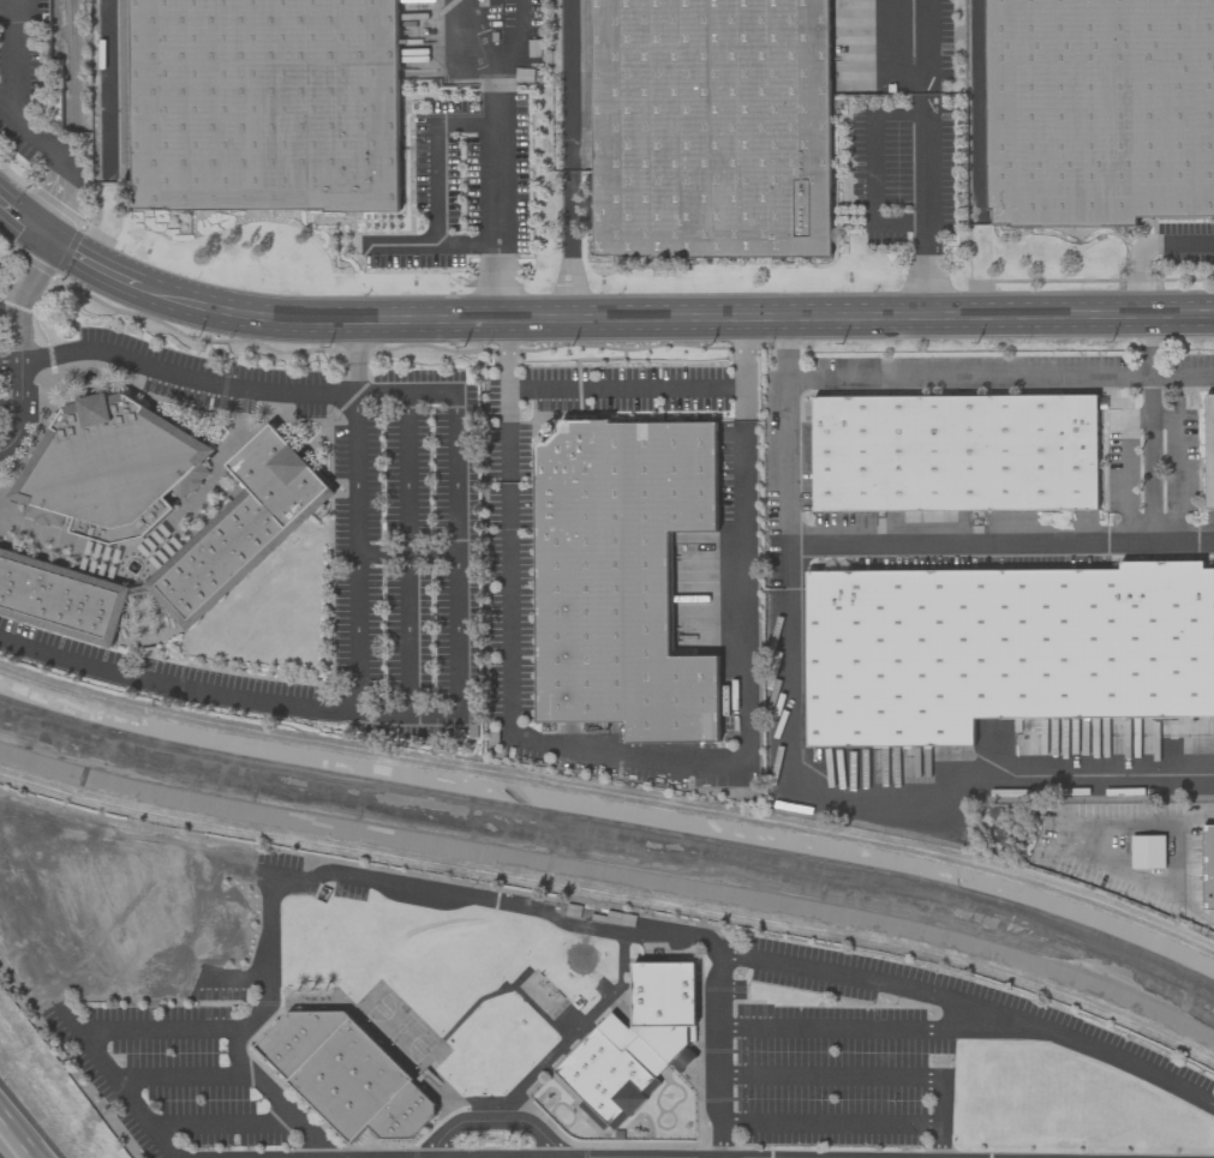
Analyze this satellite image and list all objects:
railway: (71, 8)
road: (519, 41)
road: (929, 47)
railway: (586, 61)
railway: (72, 62)
road: (572, 84)
railway: (120, 91)
building: (264, 104)
railway: (980, 106)
building: (1099, 112)
building: (713, 128)
road: (500, 155)
road: (62, 160)
road: (869, 169)
road: (436, 186)
road: (932, 204)
road: (570, 245)
road: (1146, 248)
road: (31, 282)
road: (591, 319)
road: (22, 334)
road: (177, 374)
road: (999, 378)
road: (25, 385)
road: (624, 390)
road: (372, 394)
road: (13, 409)
building: (1209, 451)
building: (955, 454)
road: (1153, 458)
building: (109, 468)
building: (241, 528)
road: (971, 541)
road: (355, 554)
road: (407, 554)
road: (456, 556)
building: (621, 577)
building: (60, 598)
building: (1003, 649)
road: (227, 697)
road: (641, 757)
road: (791, 767)
road: (136, 845)
building: (1147, 852)
road: (1185, 859)
building: (1208, 866)
road: (513, 902)
road: (104, 916)
road: (37, 976)
road: (168, 977)
road: (881, 1028)
building: (634, 1039)
building: (683, 1060)
road: (806, 1074)
road: (185, 1075)
building: (346, 1075)
road: (275, 1094)
road: (718, 1116)
road: (496, 1120)
road: (228, 1123)
road: (829, 1124)
road: (12, 1142)

